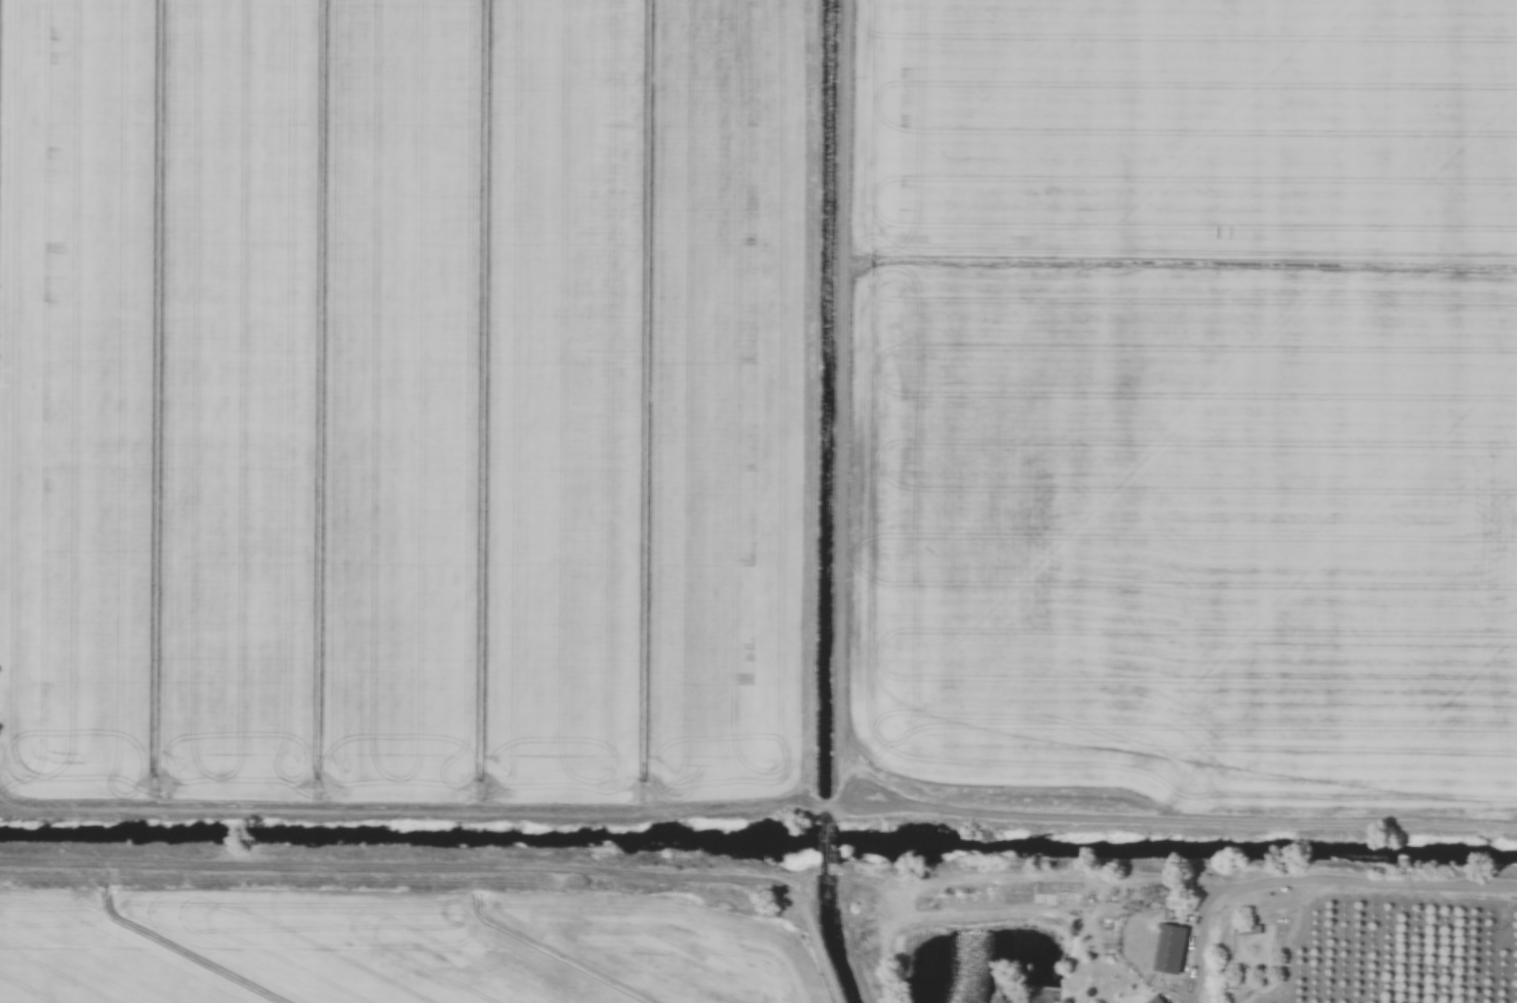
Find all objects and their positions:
road: (1312, 880)
building: (1252, 930)
building: (1173, 948)
building: (1159, 1000)

